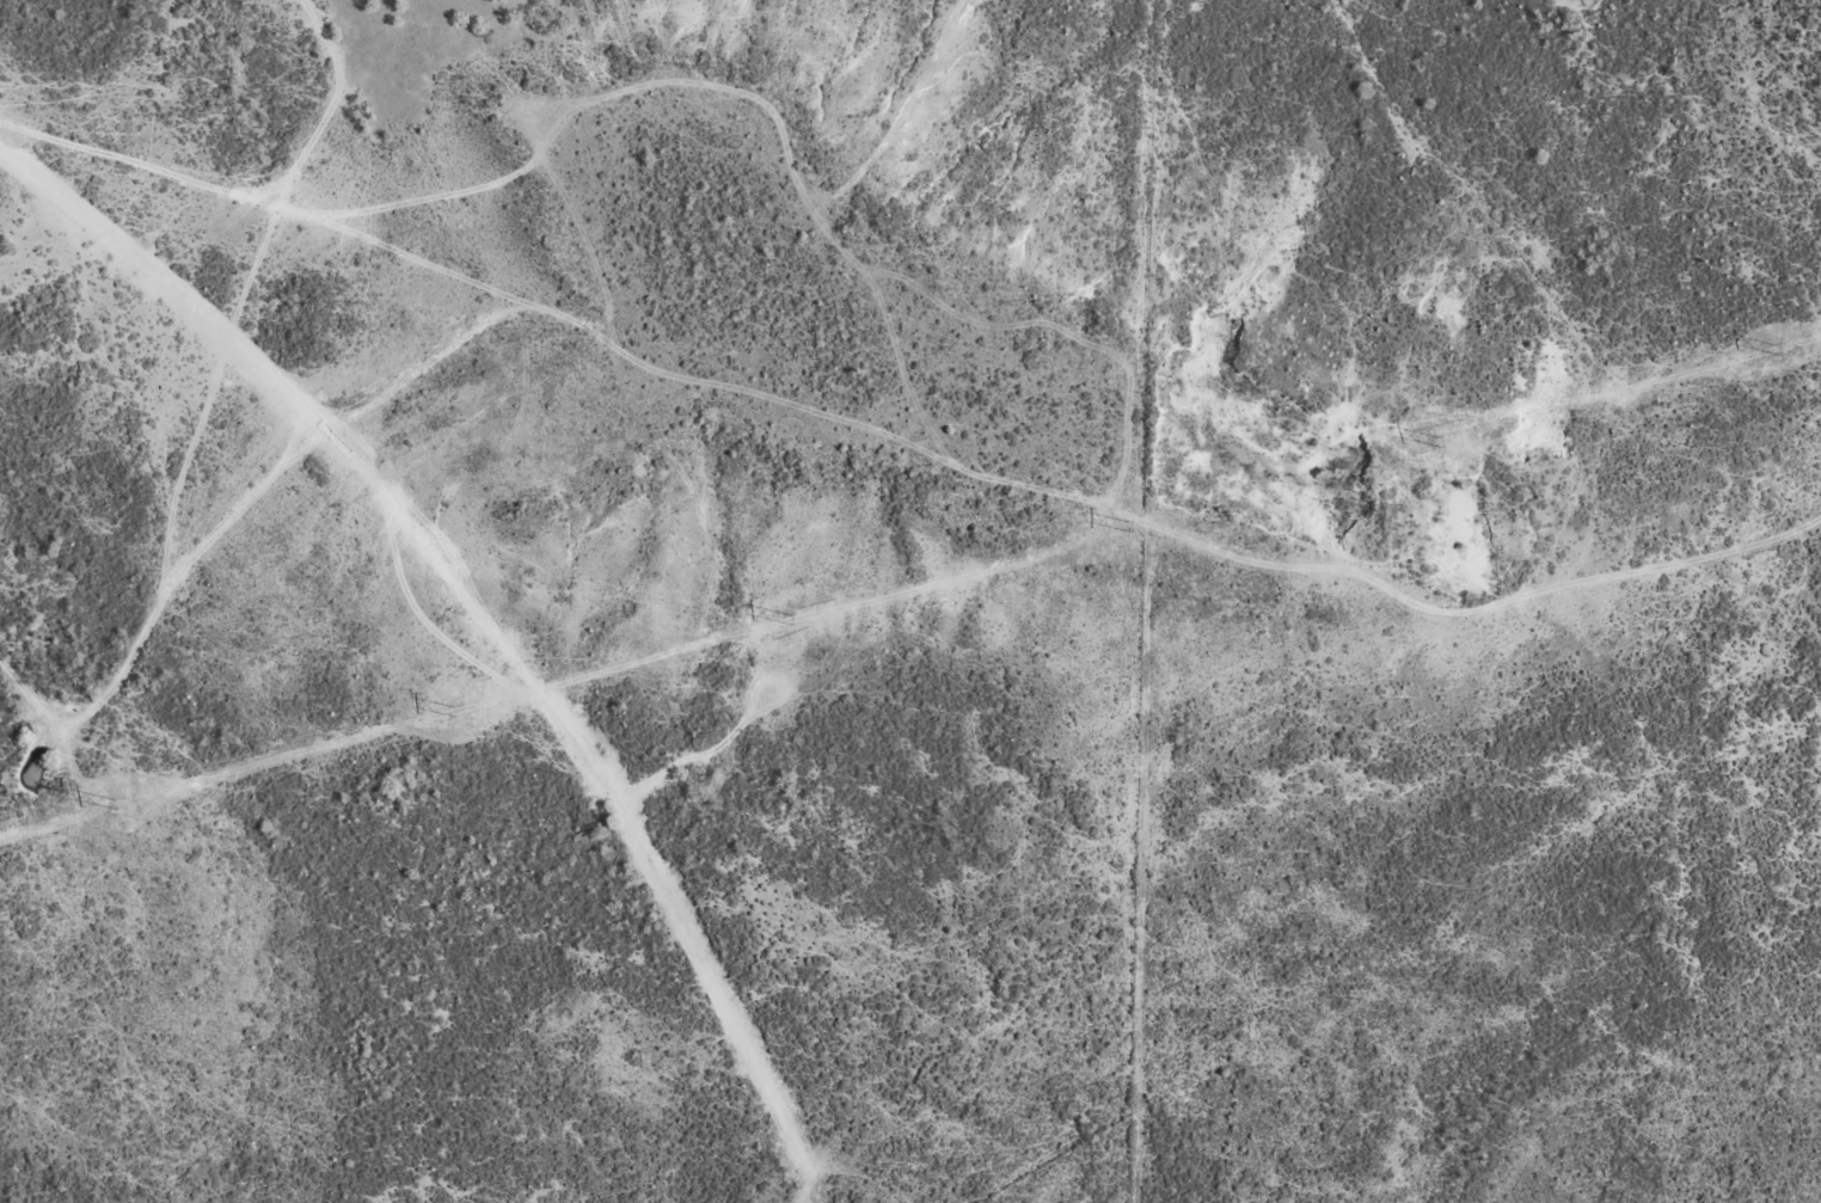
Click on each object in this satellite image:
power tower: (1746, 351)
road: (324, 438)
power tower: (1417, 443)
road: (1065, 493)
power tower: (1102, 530)
power tower: (770, 621)
power tower: (435, 714)
power tower: (112, 804)

